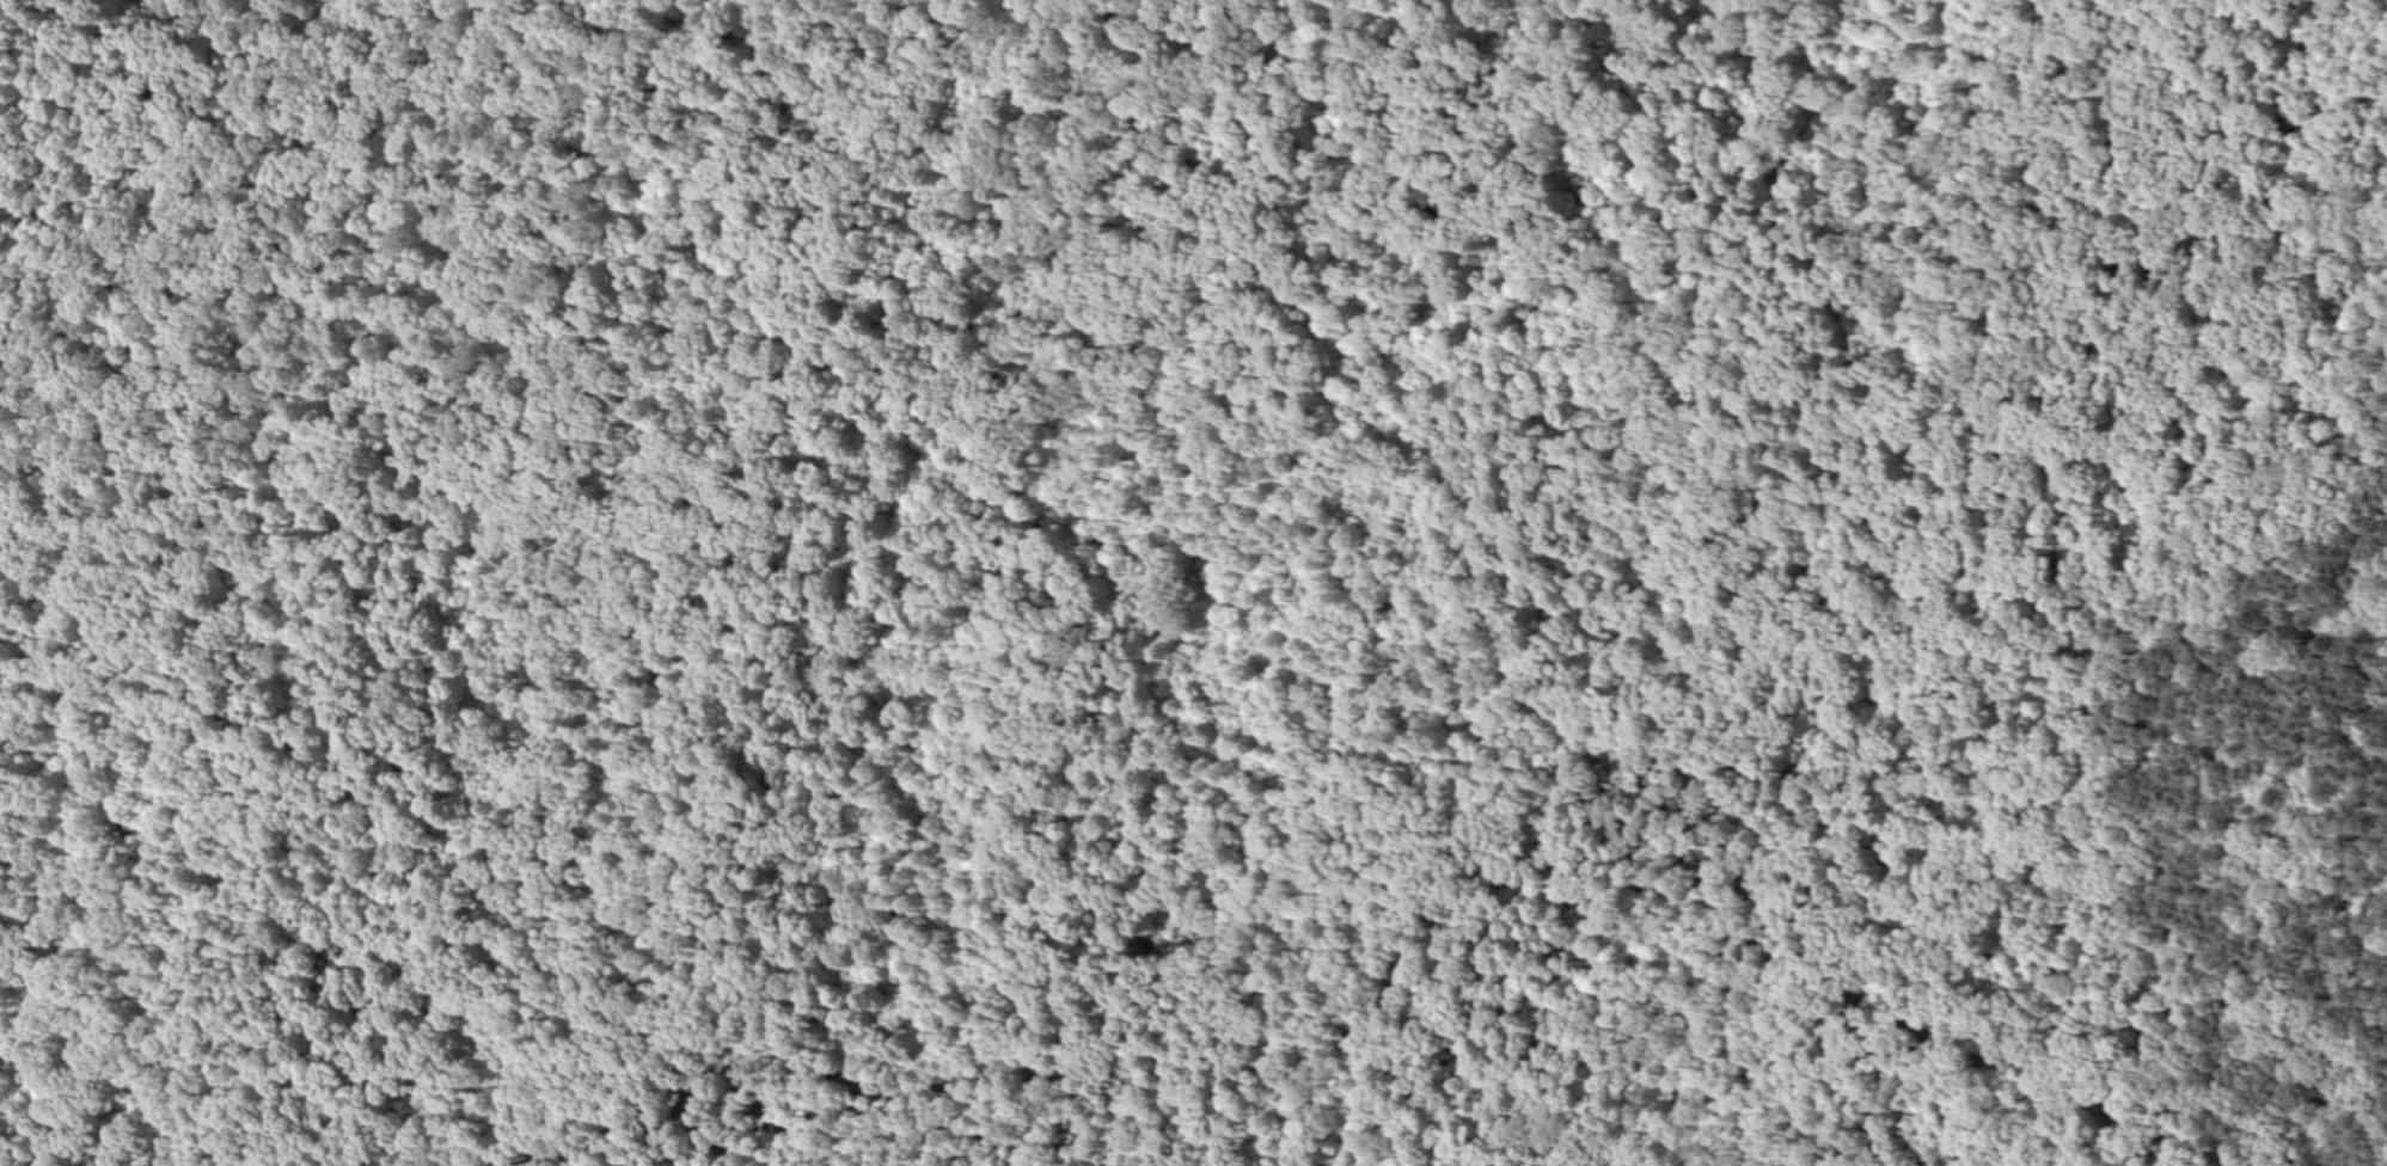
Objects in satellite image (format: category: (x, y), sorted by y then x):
road: (1381, 994)

